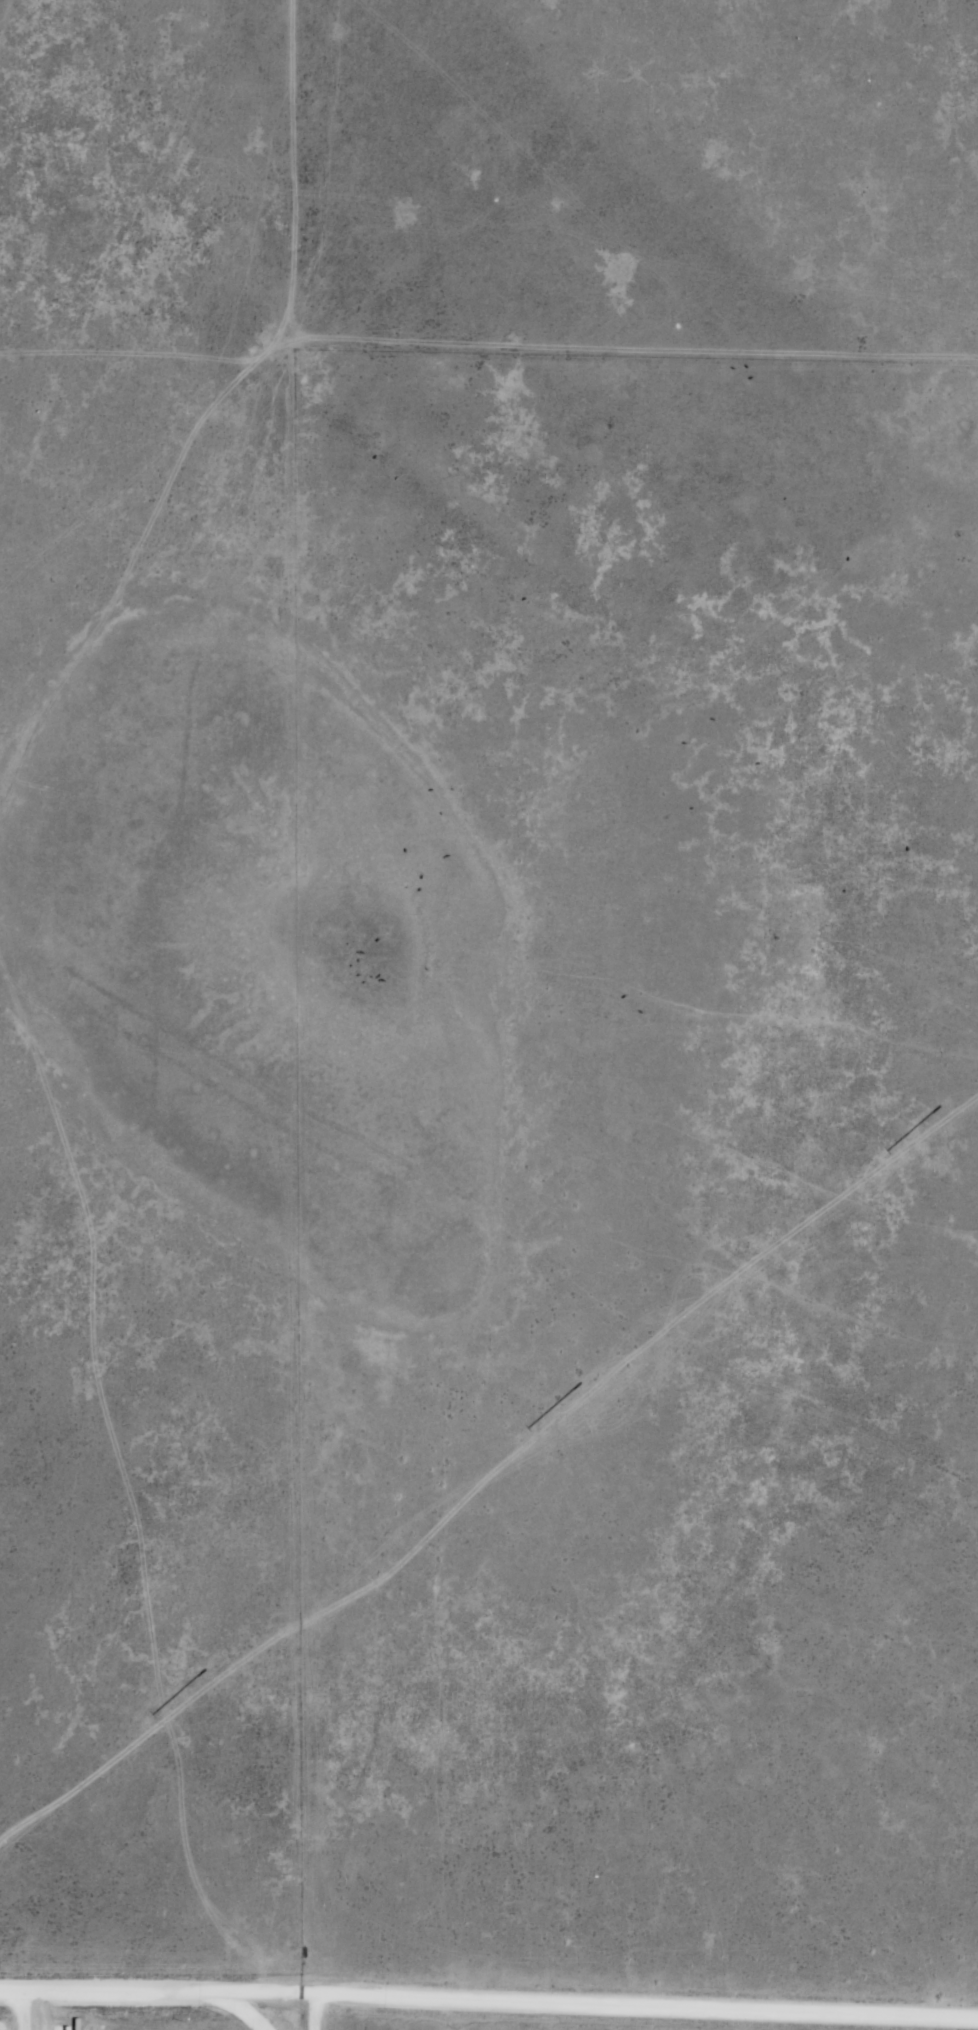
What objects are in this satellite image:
road: (489, 2005)

